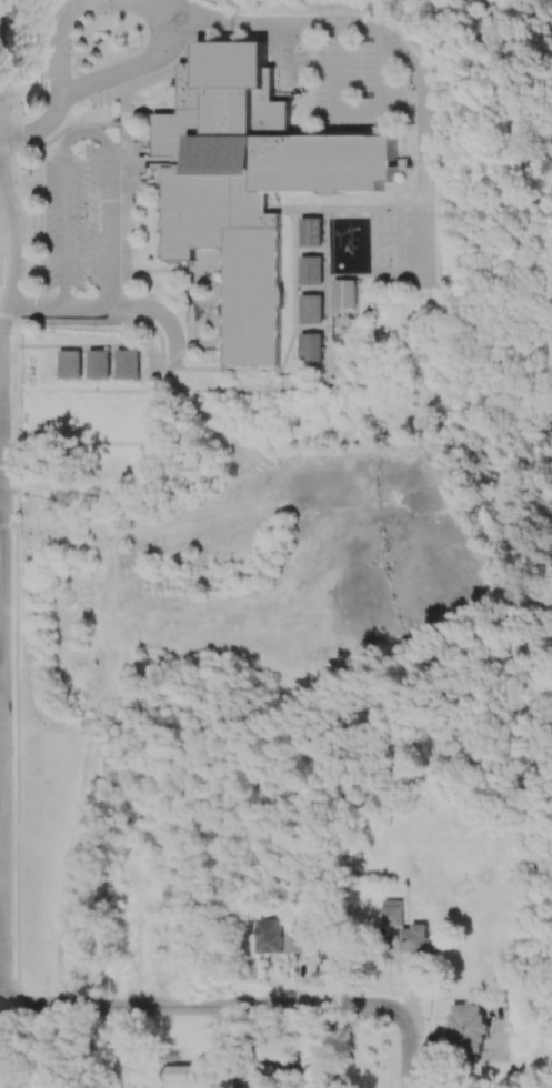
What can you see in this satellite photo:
road: (159, 4)
road: (231, 23)
road: (59, 39)
road: (287, 58)
road: (0, 67)
road: (131, 68)
road: (415, 68)
parking lot: (351, 85)
road: (354, 107)
road: (36, 128)
road: (77, 132)
building: (250, 180)
parking lot: (80, 219)
building: (313, 230)
building: (313, 269)
road: (201, 276)
building: (345, 293)
road: (90, 304)
road: (37, 306)
building: (314, 308)
road: (6, 310)
road: (160, 310)
road: (210, 342)
road: (0, 349)
building: (314, 349)
building: (102, 362)
building: (131, 363)
building: (71, 364)
road: (2, 672)
road: (4, 759)
building: (393, 911)
building: (270, 935)
building: (303, 938)
building: (418, 939)
road: (200, 1005)
building: (468, 1027)
road: (229, 1047)
road: (410, 1049)
building: (273, 1071)
building: (178, 1072)

